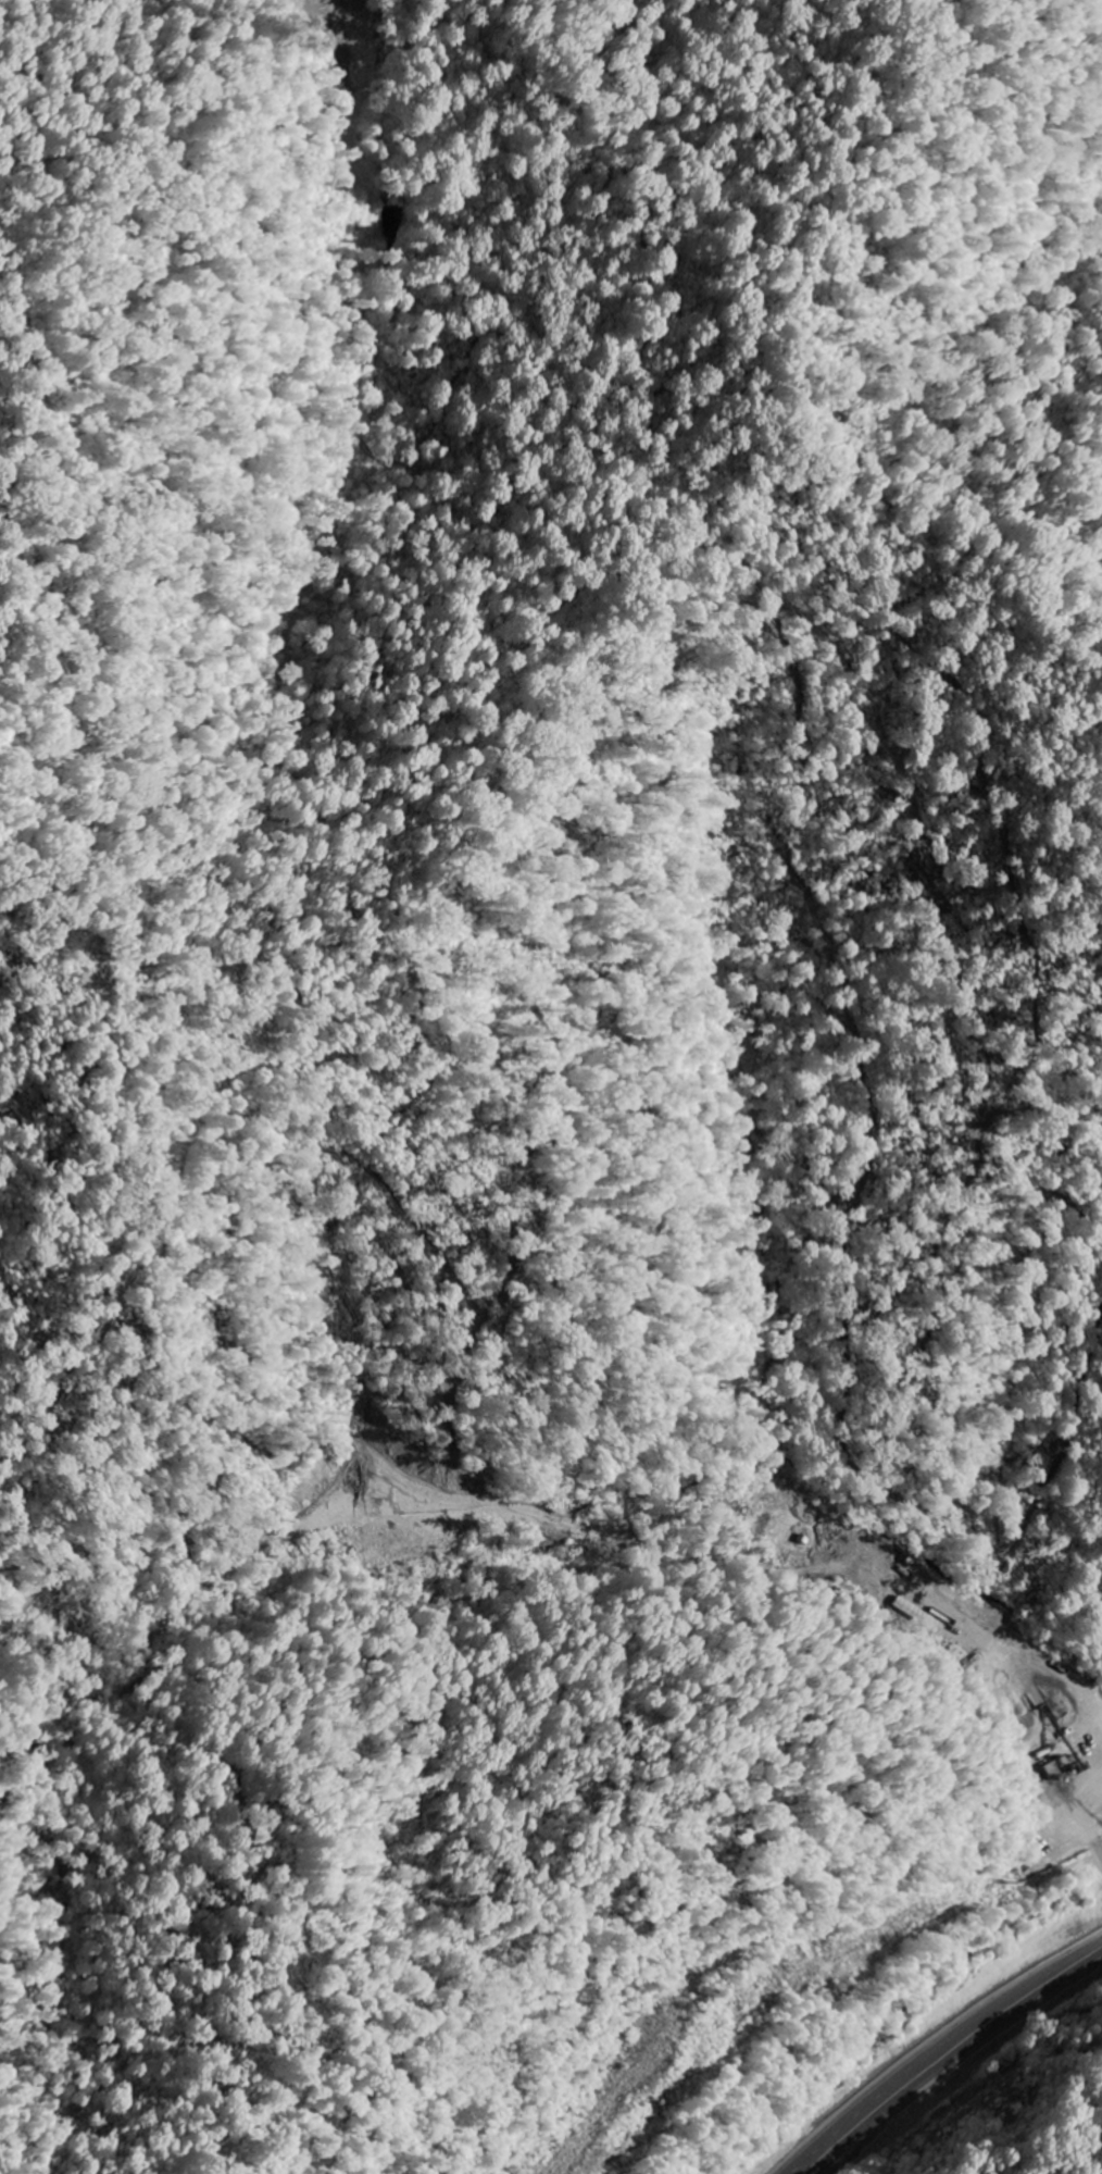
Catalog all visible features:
road: (947, 2052)

